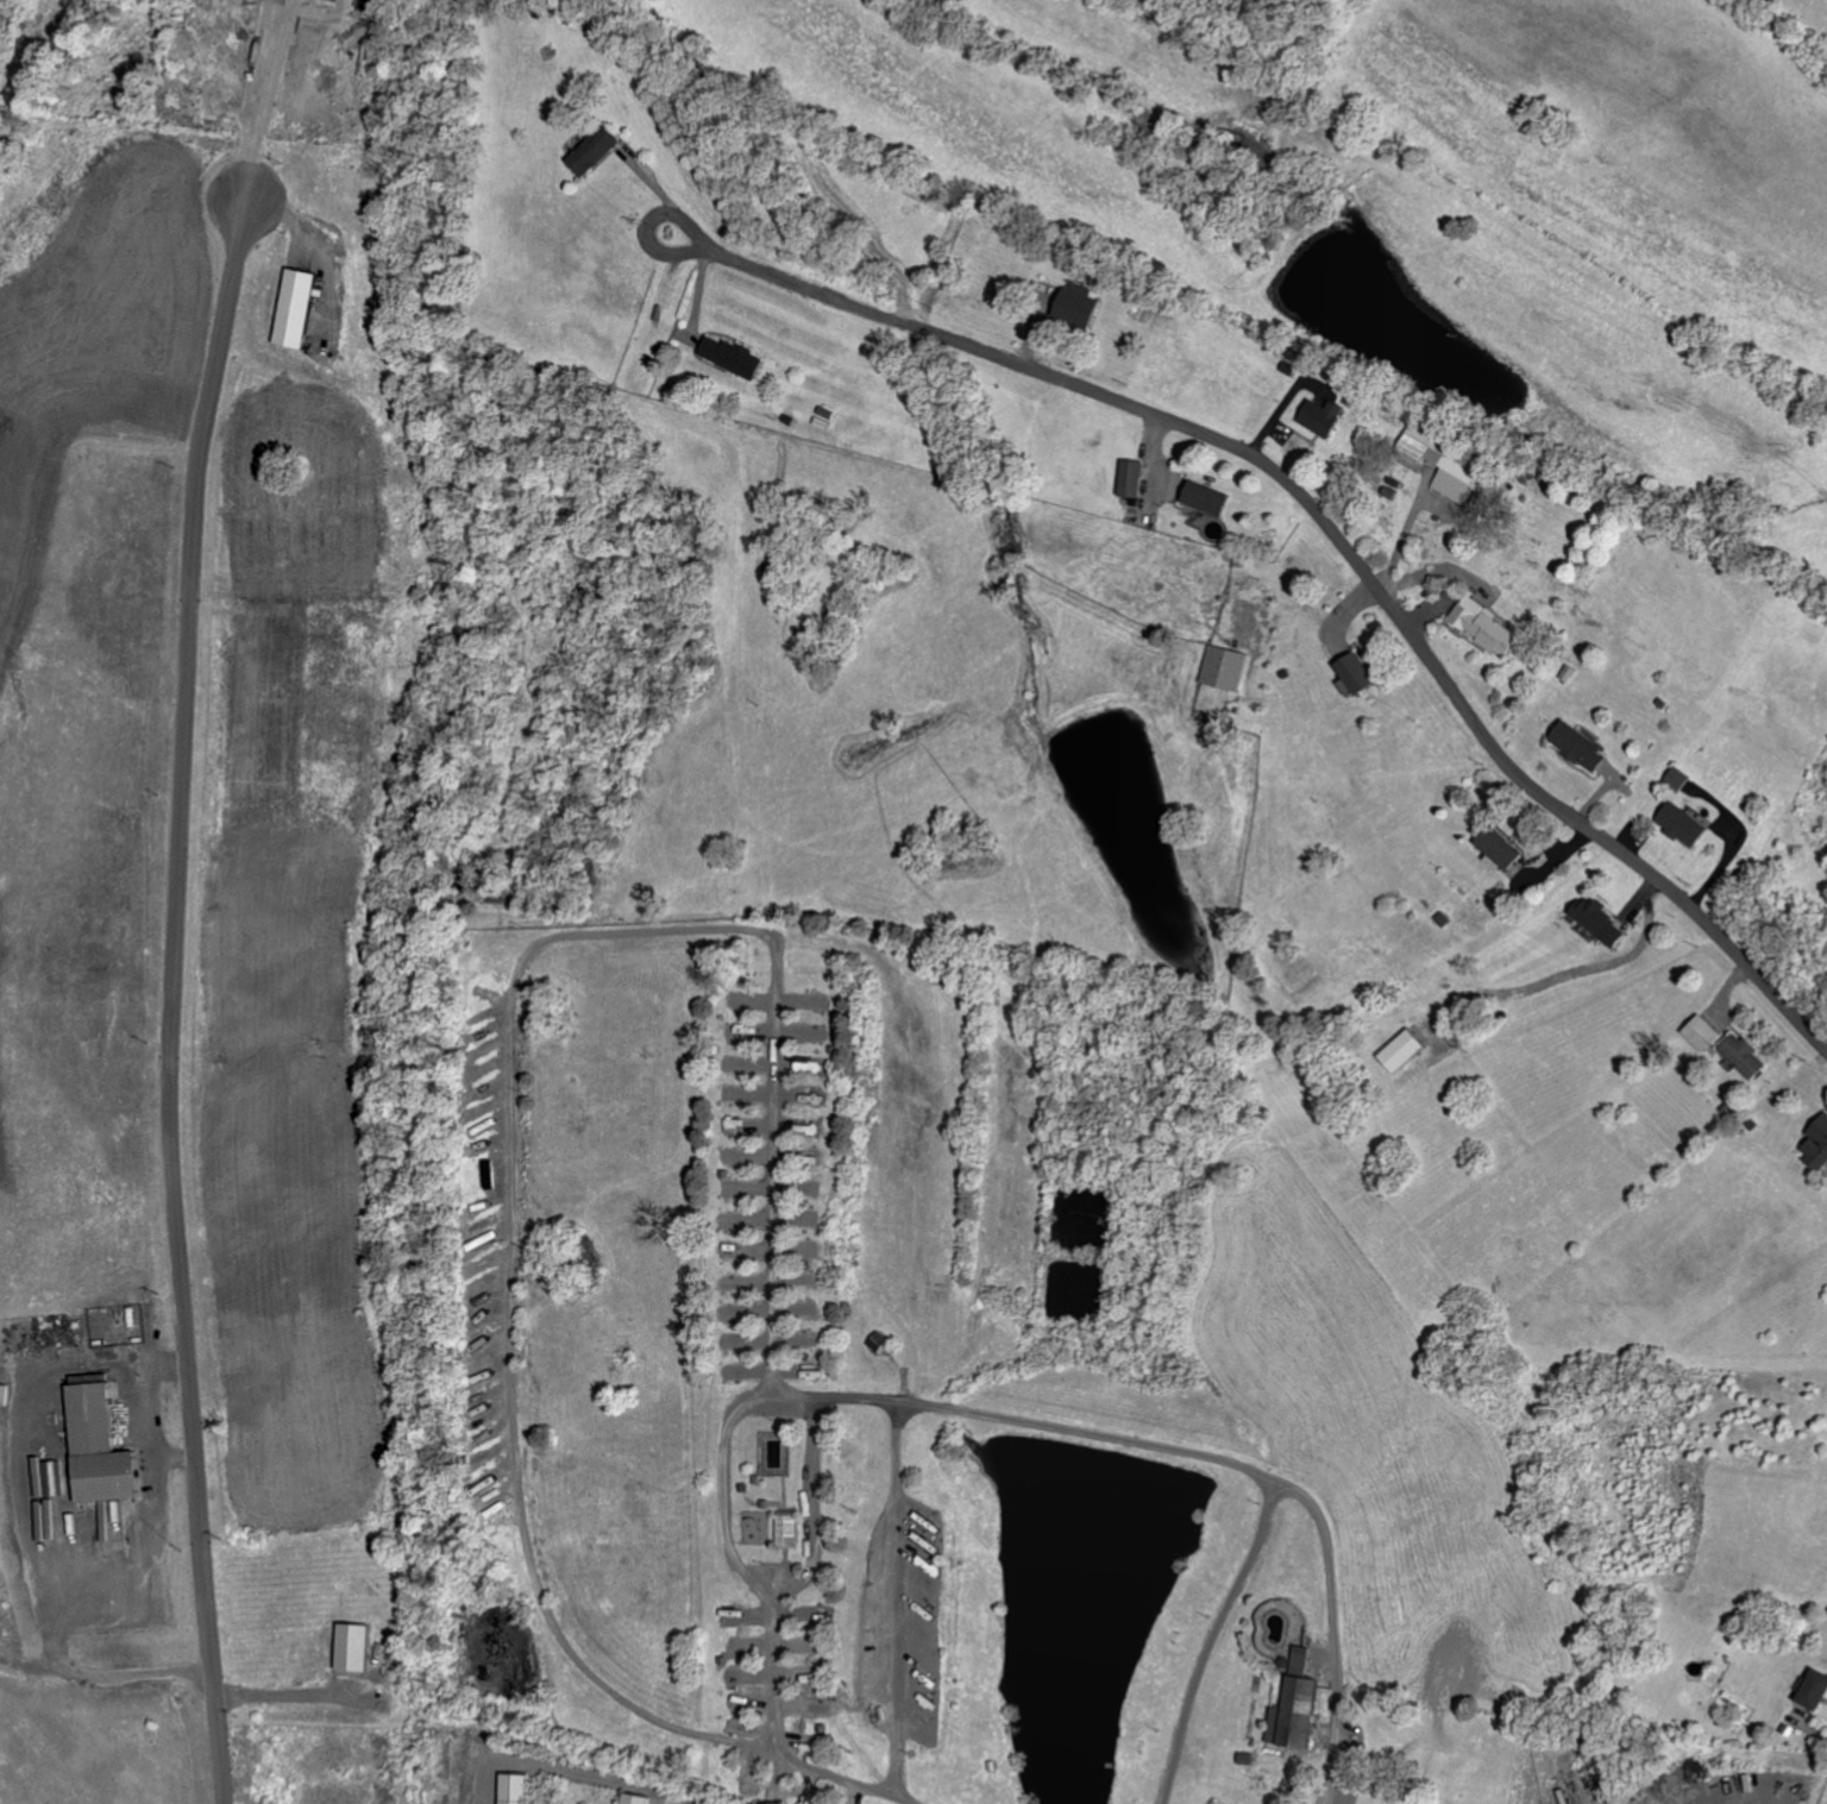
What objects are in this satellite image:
road: (266, 96)
building: (598, 152)
building: (1081, 307)
building: (300, 310)
building: (735, 358)
building: (1326, 420)
building: (1440, 455)
building: (1135, 480)
building: (1486, 491)
building: (1210, 501)
road: (1326, 527)
building: (1487, 628)
building: (1225, 670)
building: (1358, 678)
building: (1577, 744)
building: (1503, 850)
building: (1587, 914)
road: (762, 932)
road: (170, 998)
building: (1722, 1048)
building: (1405, 1051)
building: (1817, 1148)
building: (103, 1450)
road: (177, 1457)
building: (55, 1479)
road: (816, 1508)
building: (791, 1529)
road: (753, 1578)
road: (124, 1590)
road: (899, 1601)
road: (1213, 1639)
building: (358, 1648)
building: (1817, 1692)
building: (1300, 1711)
road: (560, 1770)
building: (514, 1789)
building: (635, 1799)

